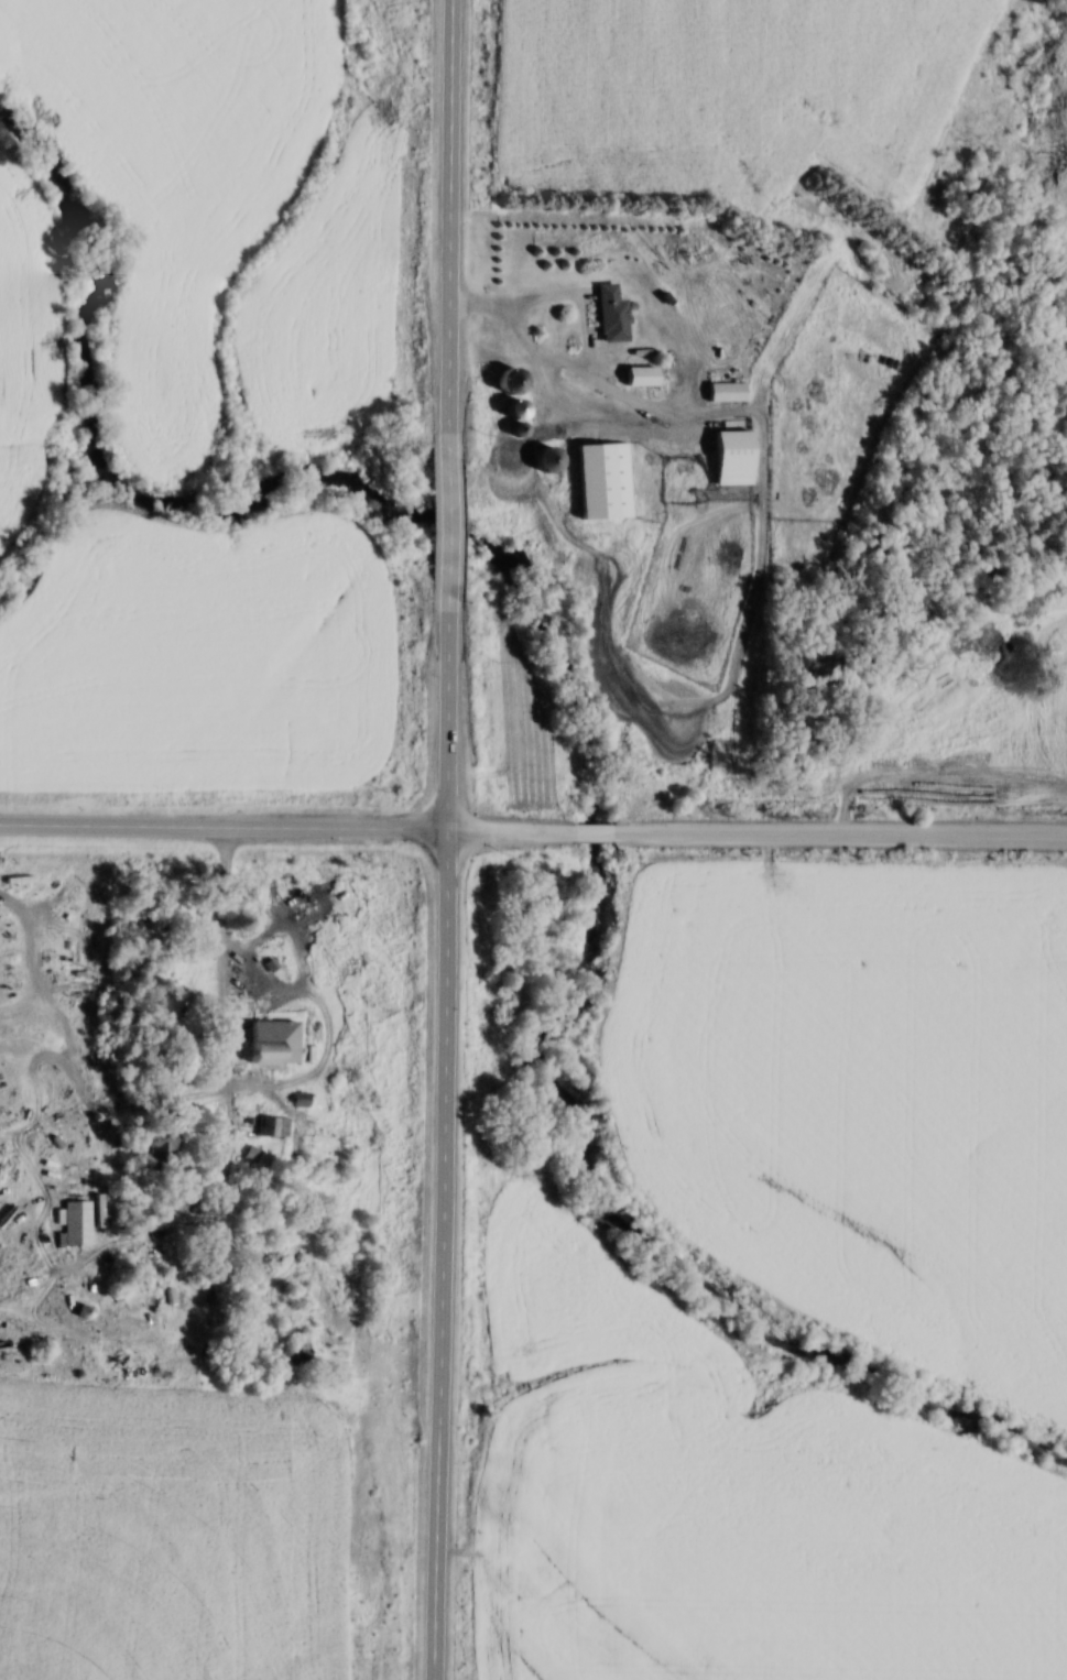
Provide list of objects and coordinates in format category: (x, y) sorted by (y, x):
building: (607, 314)
building: (634, 375)
building: (722, 391)
building: (505, 408)
road: (450, 413)
building: (727, 457)
building: (538, 459)
building: (588, 481)
road: (224, 826)
road: (511, 829)
road: (592, 834)
road: (839, 834)
building: (273, 1047)
building: (303, 1099)
building: (274, 1126)
building: (163, 1145)
building: (79, 1223)
road: (443, 1254)
building: (157, 1279)
building: (295, 1352)

